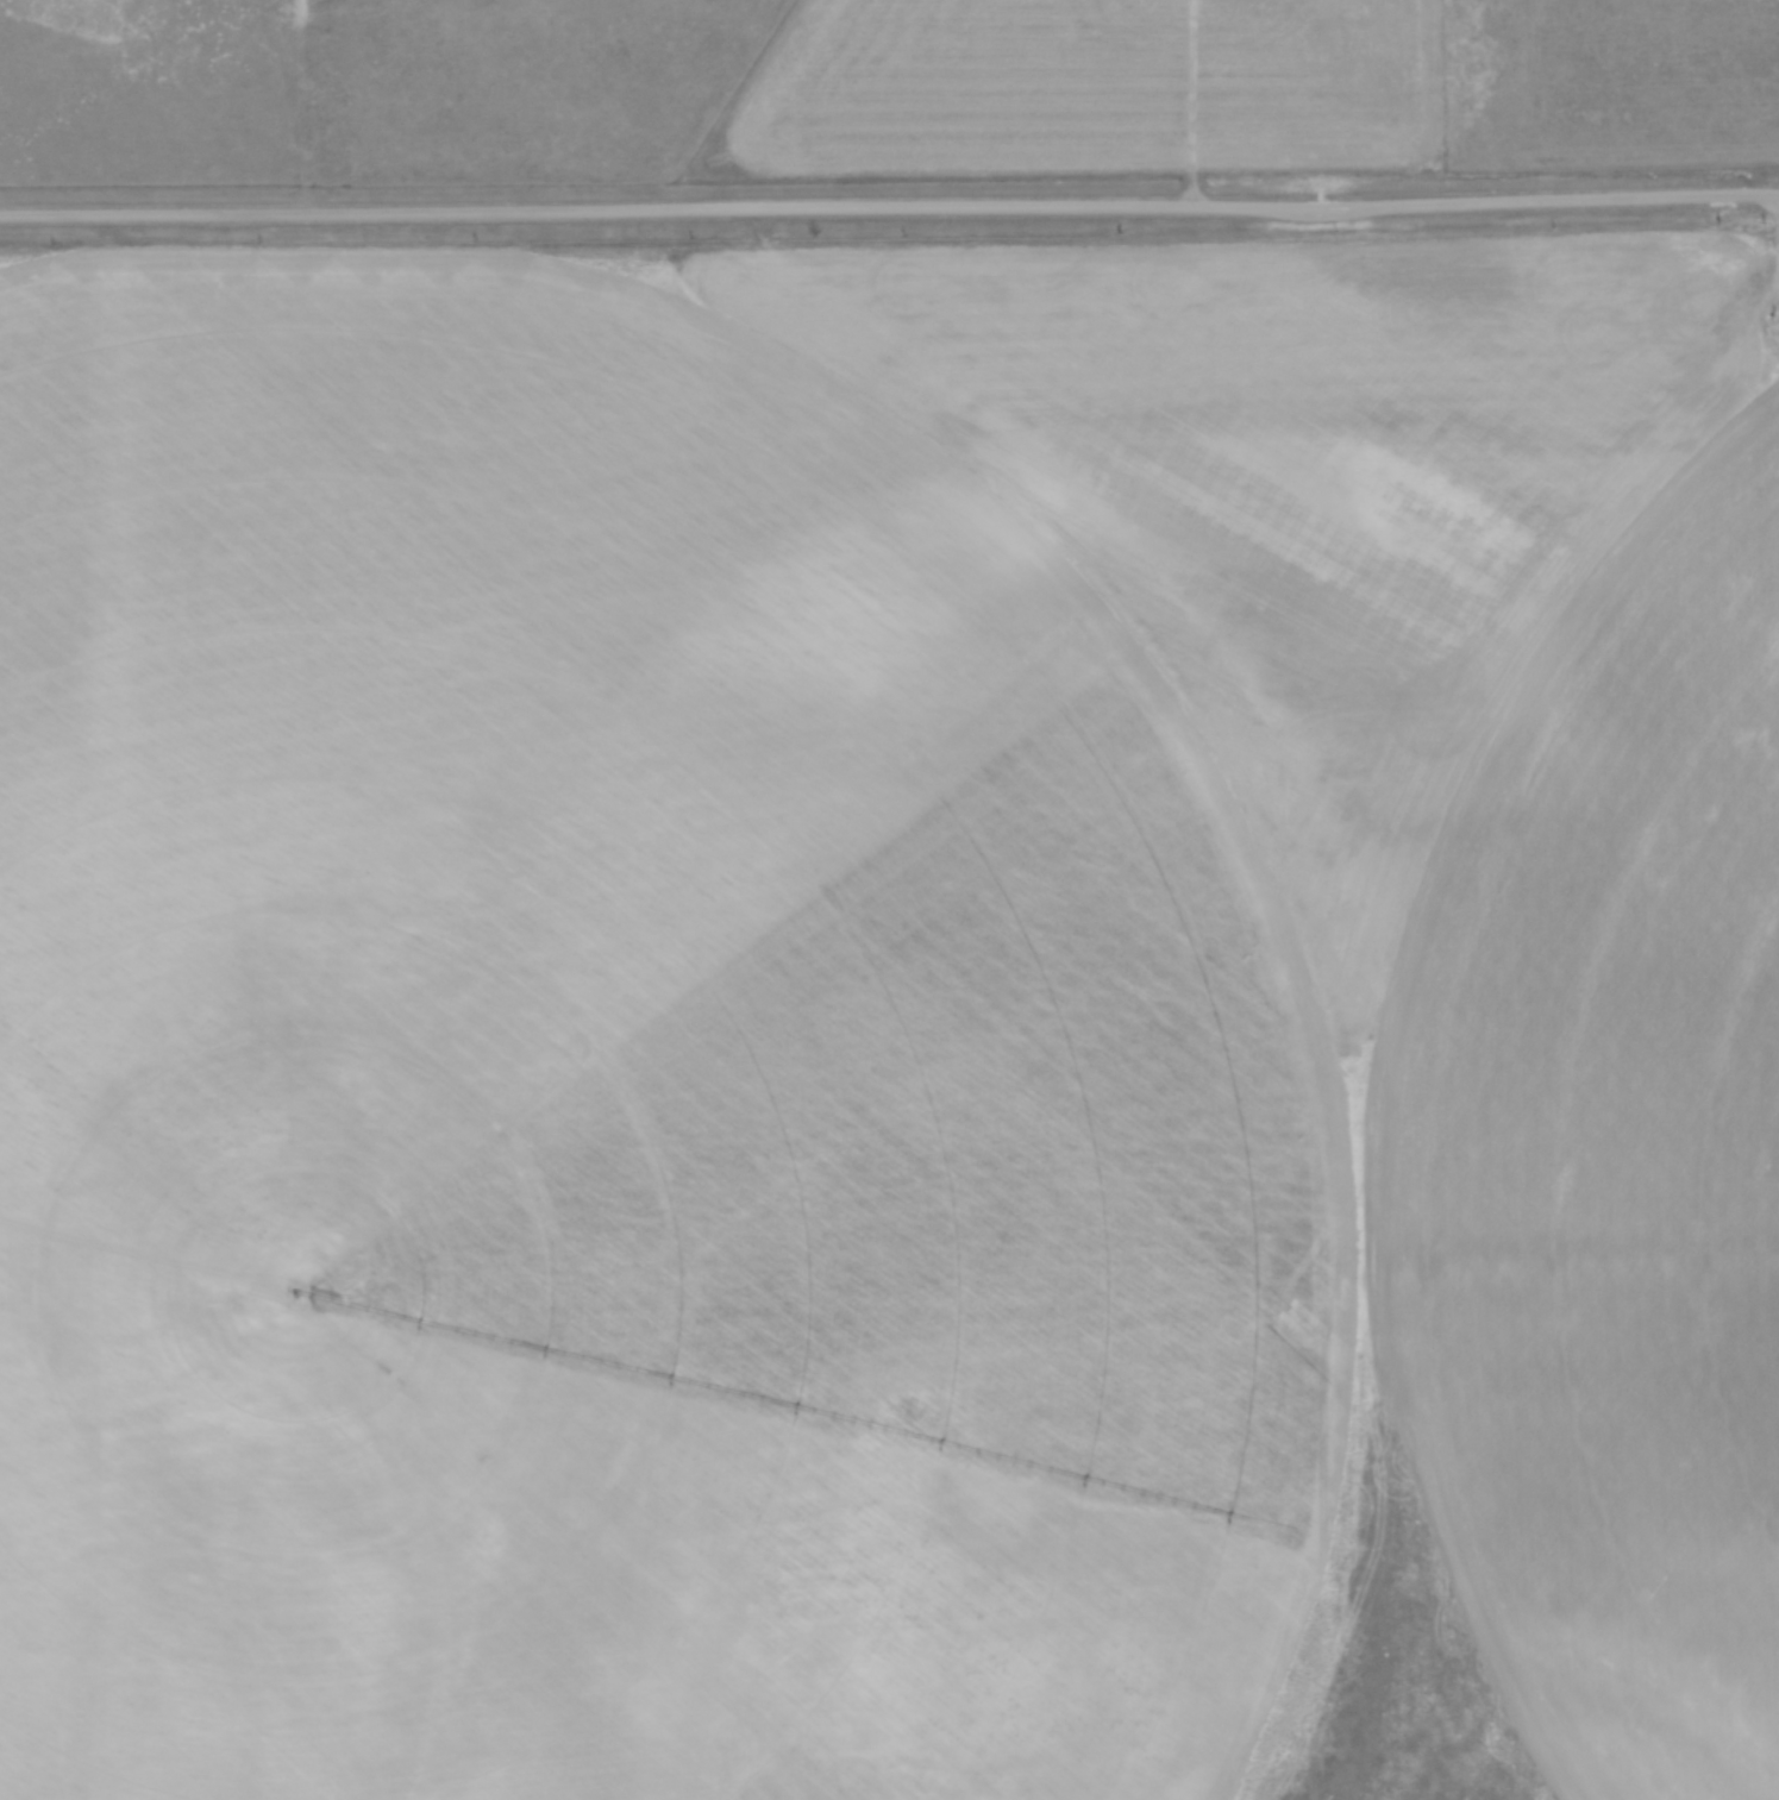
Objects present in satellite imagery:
crop: (1094, 89)
road: (889, 208)
crop: (878, 1009)

